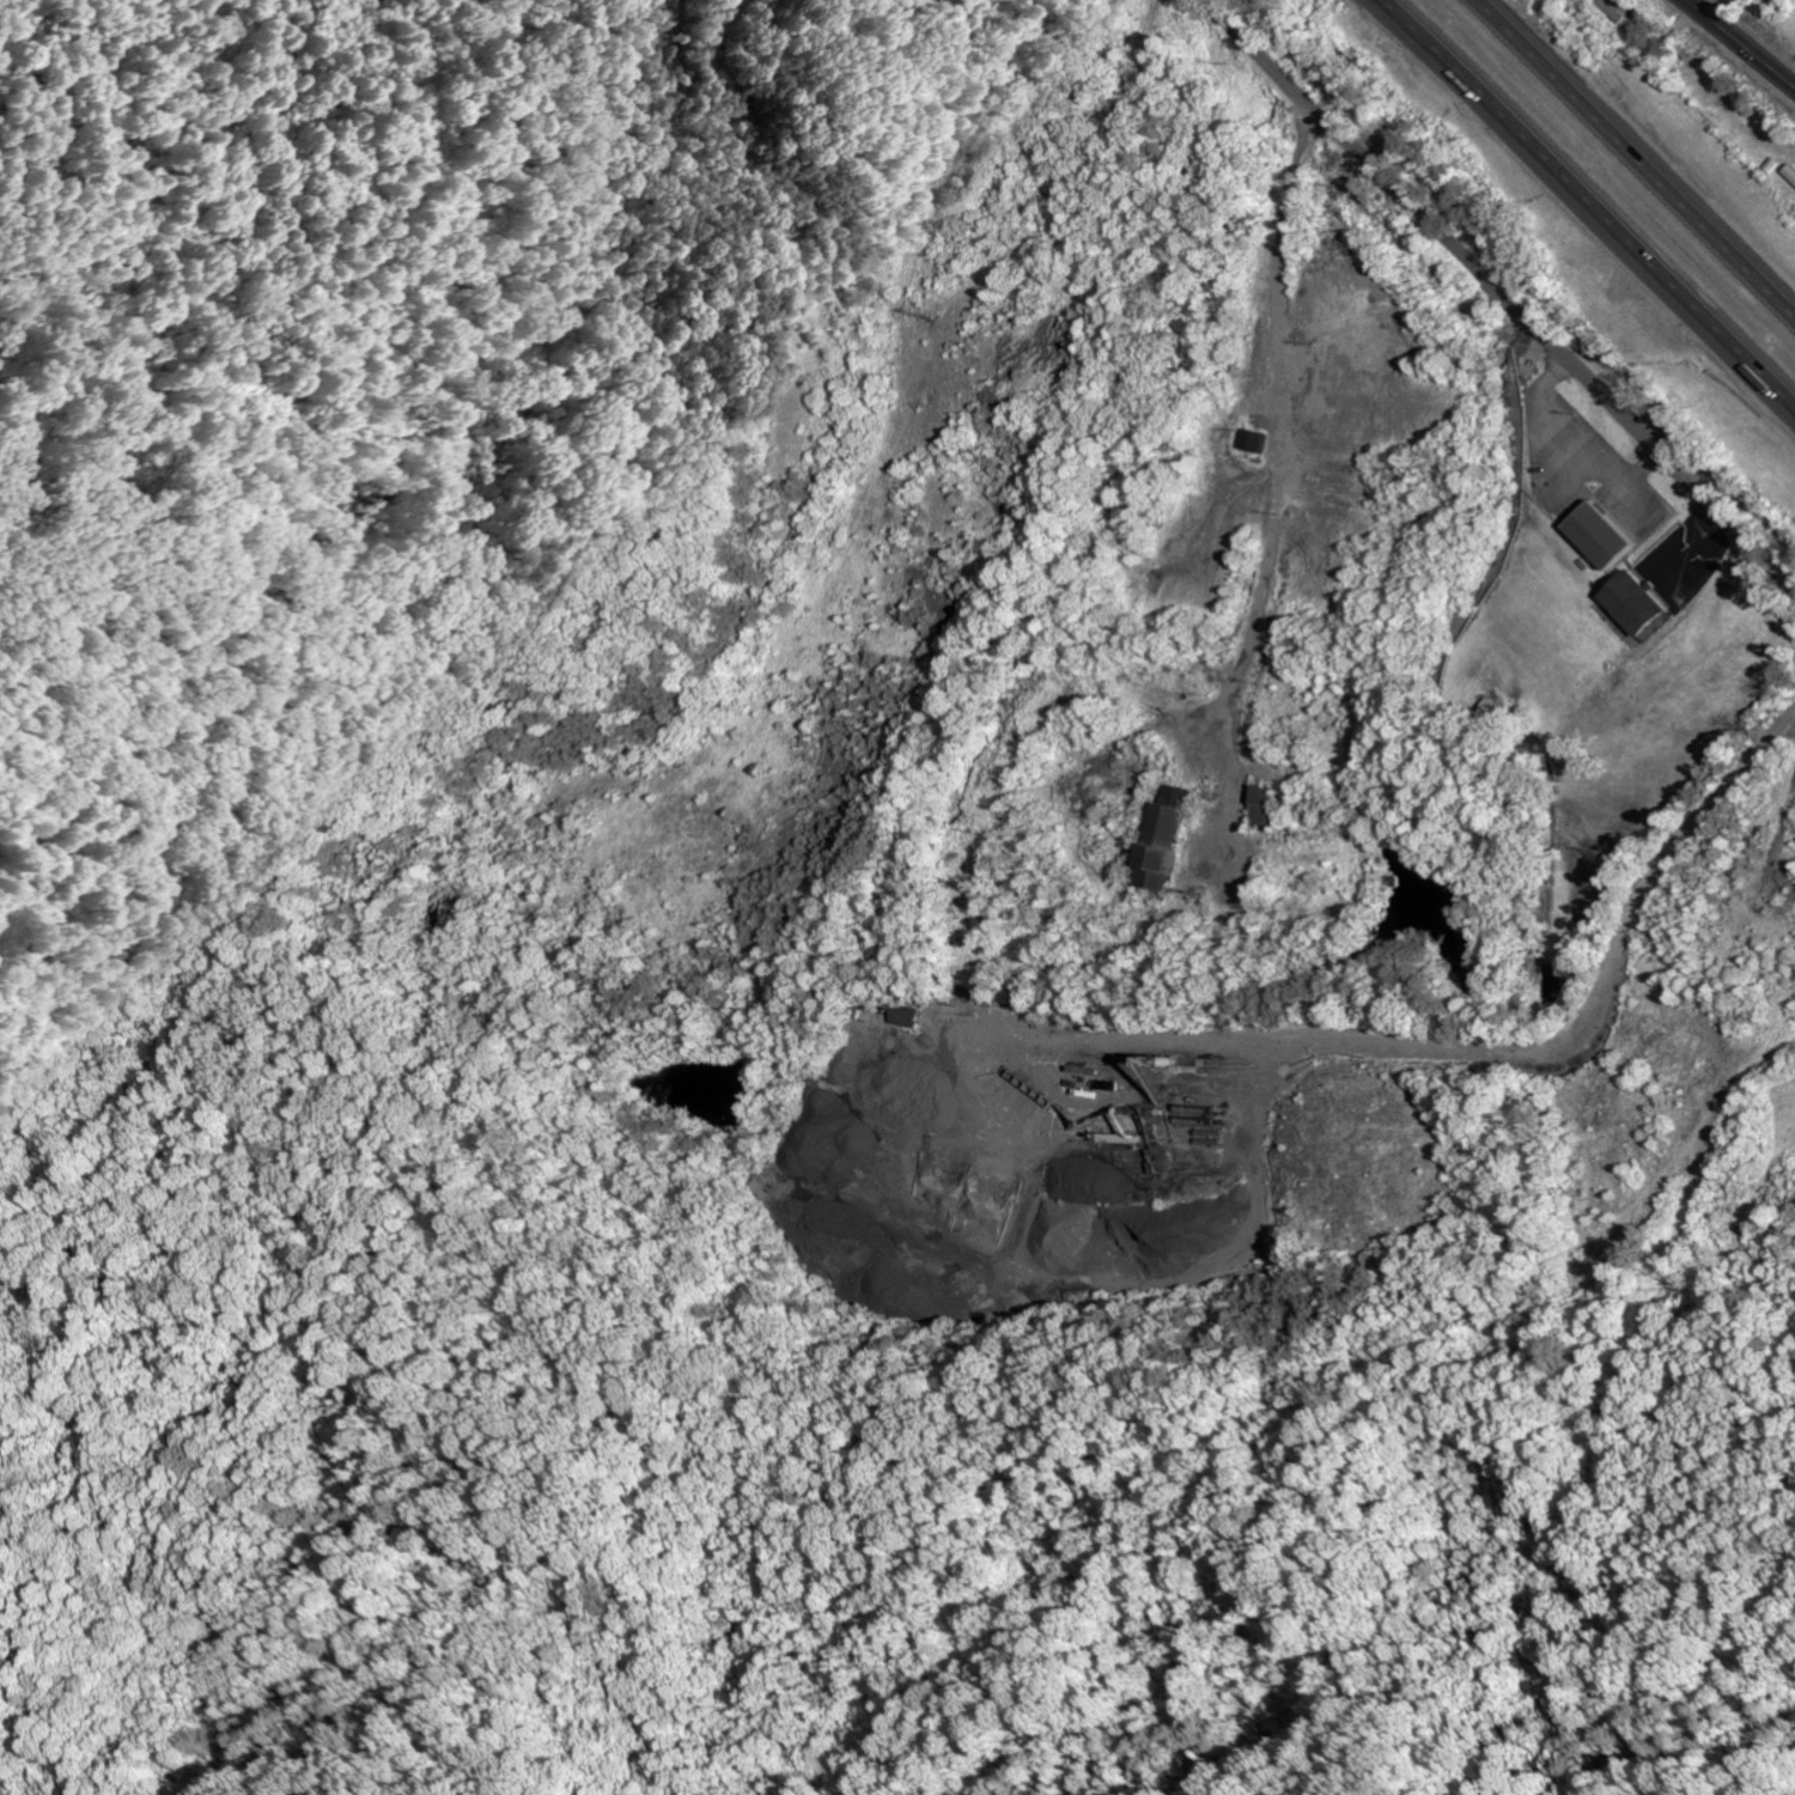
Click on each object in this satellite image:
road: (1739, 44)
road: (1631, 163)
road: (998, 169)
building: (1791, 175)
road: (1595, 199)
road: (1499, 297)
building: (1260, 444)
road: (1272, 529)
building: (1605, 538)
building: (1639, 606)
road: (852, 608)
building: (1267, 809)
building: (1174, 840)
road: (1600, 951)
building: (917, 1017)

